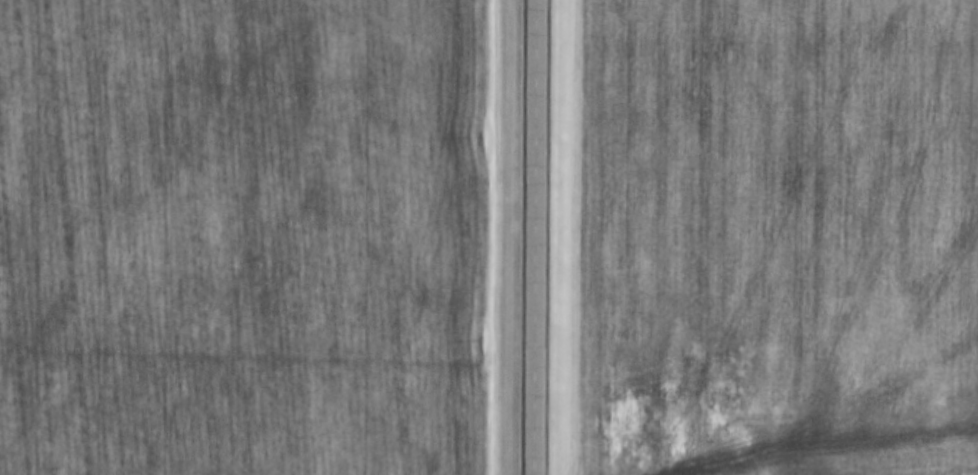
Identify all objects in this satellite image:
road: (536, 237)

